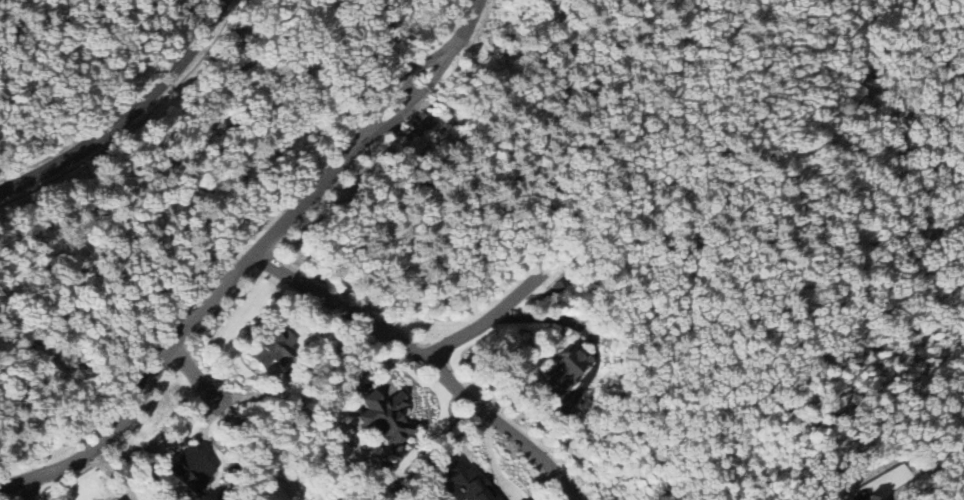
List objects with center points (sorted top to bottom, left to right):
road: (468, 32)
road: (399, 86)
road: (413, 90)
road: (418, 103)
building: (409, 109)
road: (130, 117)
road: (194, 148)
road: (514, 318)
road: (193, 326)
building: (271, 343)
road: (429, 363)
building: (568, 371)
road: (197, 375)
building: (384, 415)
road: (260, 452)
building: (191, 470)
building: (464, 485)
road: (30, 490)
building: (870, 498)

